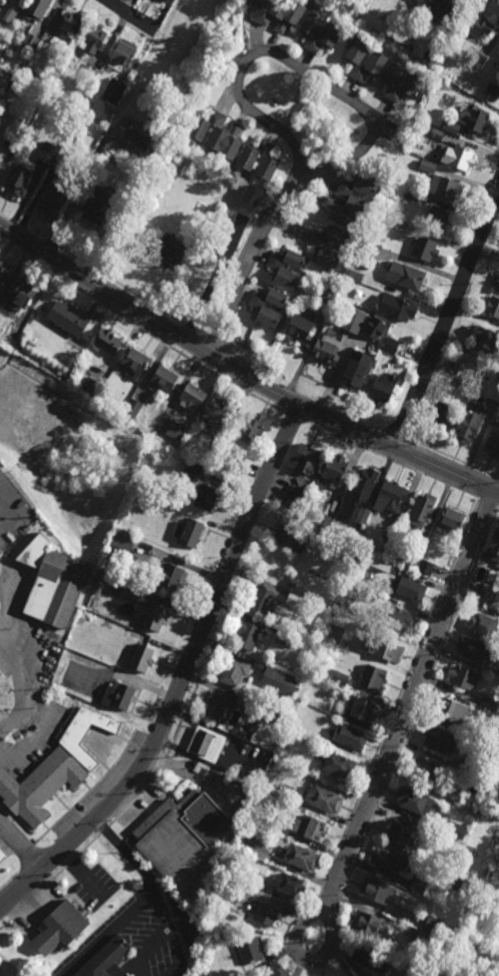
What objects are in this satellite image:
building: (165, 0)
building: (412, 0)
road: (496, 1)
building: (20, 2)
building: (36, 8)
building: (441, 9)
building: (280, 12)
building: (11, 15)
road: (130, 16)
building: (72, 22)
building: (478, 24)
building: (333, 32)
building: (93, 38)
building: (31, 41)
building: (498, 51)
road: (273, 52)
building: (124, 53)
building: (497, 58)
building: (478, 60)
building: (376, 61)
building: (90, 71)
building: (28, 74)
building: (412, 83)
building: (115, 91)
building: (492, 91)
building: (135, 101)
building: (477, 120)
building: (448, 123)
building: (433, 132)
building: (219, 133)
building: (134, 140)
building: (16, 141)
building: (0, 151)
building: (49, 152)
building: (459, 158)
building: (247, 160)
building: (62, 162)
building: (147, 164)
building: (19, 179)
building: (441, 183)
building: (254, 194)
building: (410, 194)
road: (75, 196)
building: (55, 199)
building: (351, 200)
building: (101, 203)
building: (378, 214)
building: (437, 218)
building: (320, 247)
building: (179, 249)
building: (428, 250)
building: (365, 252)
road: (251, 258)
building: (356, 260)
building: (282, 270)
building: (5, 272)
building: (355, 276)
building: (409, 277)
road: (120, 285)
building: (497, 286)
building: (23, 296)
building: (328, 296)
building: (261, 307)
building: (492, 307)
building: (401, 310)
road: (448, 316)
building: (69, 319)
building: (354, 320)
building: (374, 328)
building: (301, 330)
road: (154, 339)
building: (484, 340)
building: (110, 342)
building: (390, 346)
building: (327, 351)
building: (136, 365)
building: (356, 369)
road: (241, 373)
building: (164, 380)
building: (466, 384)
building: (92, 387)
building: (380, 390)
building: (493, 391)
building: (193, 397)
building: (133, 411)
building: (216, 414)
building: (441, 415)
road: (295, 417)
building: (469, 421)
building: (254, 427)
building: (177, 430)
building: (493, 440)
building: (175, 445)
building: (304, 457)
road: (456, 458)
road: (392, 462)
building: (239, 464)
building: (333, 469)
building: (191, 471)
building: (364, 482)
building: (297, 492)
building: (392, 494)
building: (208, 496)
road: (489, 503)
building: (422, 508)
building: (362, 515)
building: (320, 518)
building: (450, 518)
building: (190, 528)
building: (289, 535)
building: (390, 535)
building: (123, 538)
building: (323, 538)
road: (5, 546)
building: (493, 547)
building: (346, 548)
building: (0, 552)
building: (0, 556)
building: (412, 560)
building: (383, 565)
building: (425, 566)
building: (170, 575)
building: (53, 581)
building: (408, 588)
building: (133, 590)
building: (486, 593)
building: (371, 594)
building: (497, 594)
building: (262, 599)
building: (293, 599)
building: (396, 616)
building: (155, 617)
building: (81, 620)
building: (482, 624)
road: (24, 625)
building: (333, 632)
building: (248, 633)
building: (288, 639)
building: (382, 647)
building: (475, 649)
building: (142, 657)
road: (17, 666)
building: (235, 670)
building: (495, 673)
building: (337, 676)
building: (462, 676)
building: (373, 677)
building: (0, 679)
road: (184, 679)
building: (280, 681)
building: (118, 695)
building: (488, 703)
road: (407, 705)
building: (220, 706)
road: (23, 707)
building: (360, 708)
building: (259, 709)
building: (452, 710)
building: (273, 715)
building: (1, 716)
building: (484, 735)
building: (348, 736)
building: (72, 738)
building: (441, 740)
building: (207, 744)
building: (281, 756)
building: (335, 762)
building: (471, 766)
building: (426, 768)
building: (40, 785)
building: (454, 793)
building: (323, 799)
building: (416, 802)
building: (311, 827)
building: (455, 829)
building: (399, 833)
building: (184, 840)
building: (245, 846)
road: (20, 848)
building: (2, 856)
building: (300, 857)
building: (388, 860)
building: (484, 881)
building: (455, 882)
building: (290, 884)
building: (418, 886)
building: (228, 892)
building: (378, 892)
road: (140, 899)
building: (264, 912)
building: (404, 916)
road: (298, 924)
building: (369, 925)
building: (431, 925)
building: (60, 928)
road: (197, 929)
building: (420, 937)
building: (250, 950)
building: (370, 958)
building: (107, 959)
building: (278, 971)
building: (487, 973)
building: (496, 973)
building: (241, 975)

